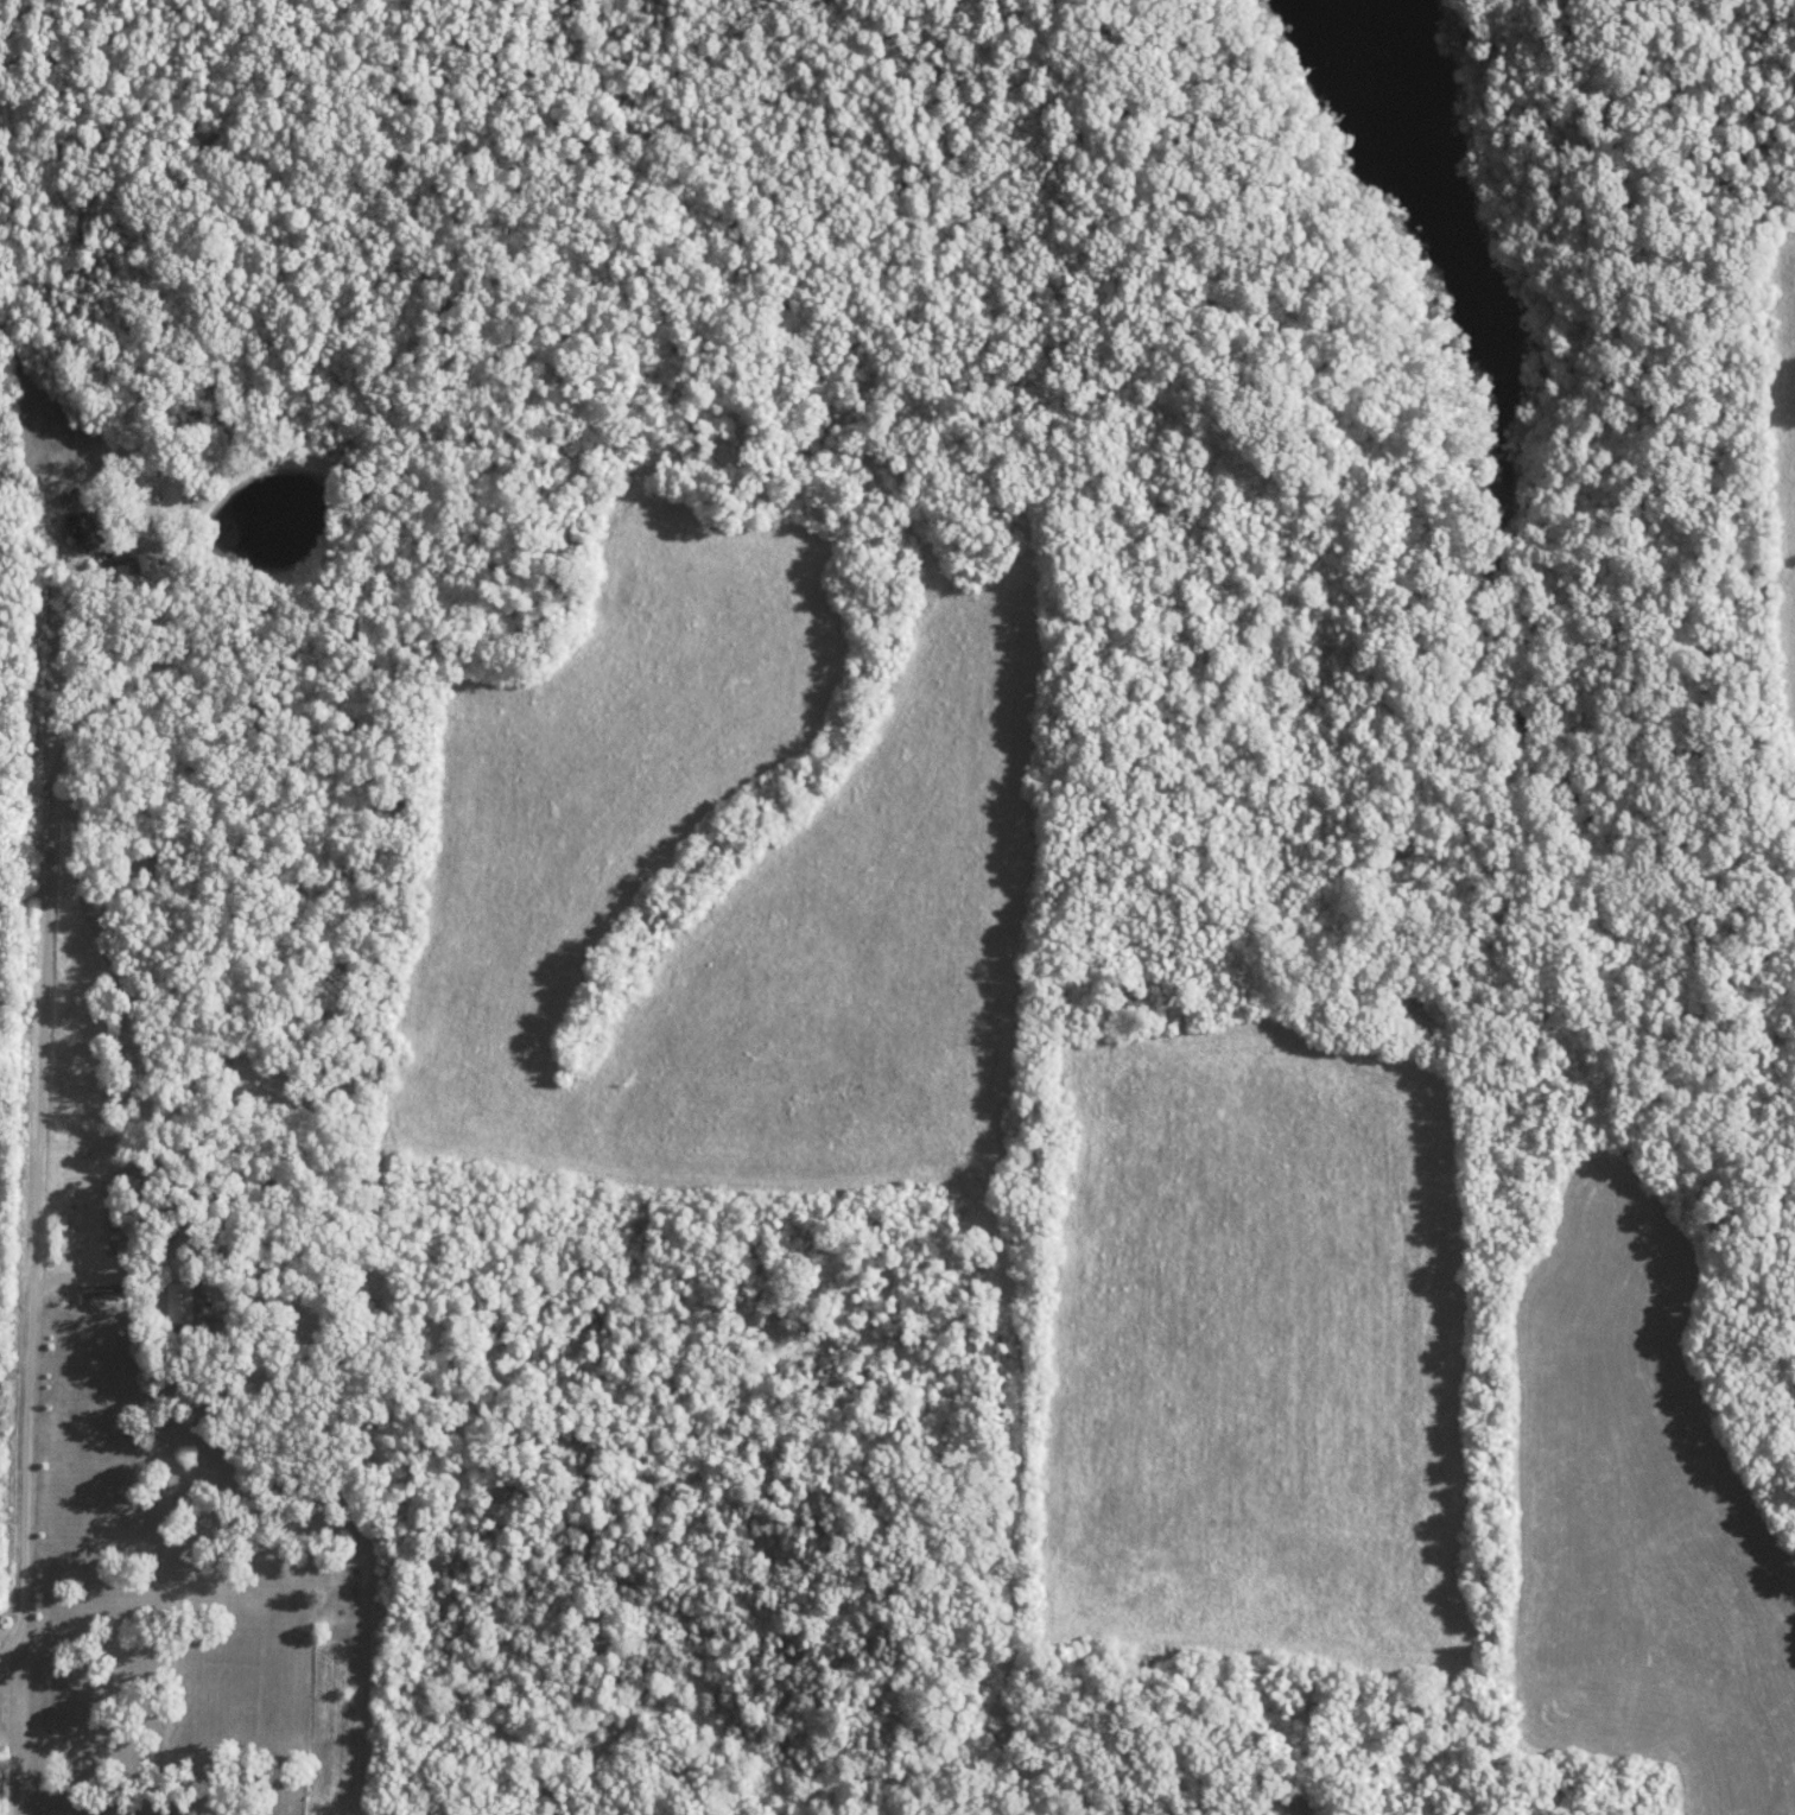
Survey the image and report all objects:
building: (87, 534)
road: (43, 1072)
road: (100, 1269)
building: (186, 1306)
road: (1020, 1528)

